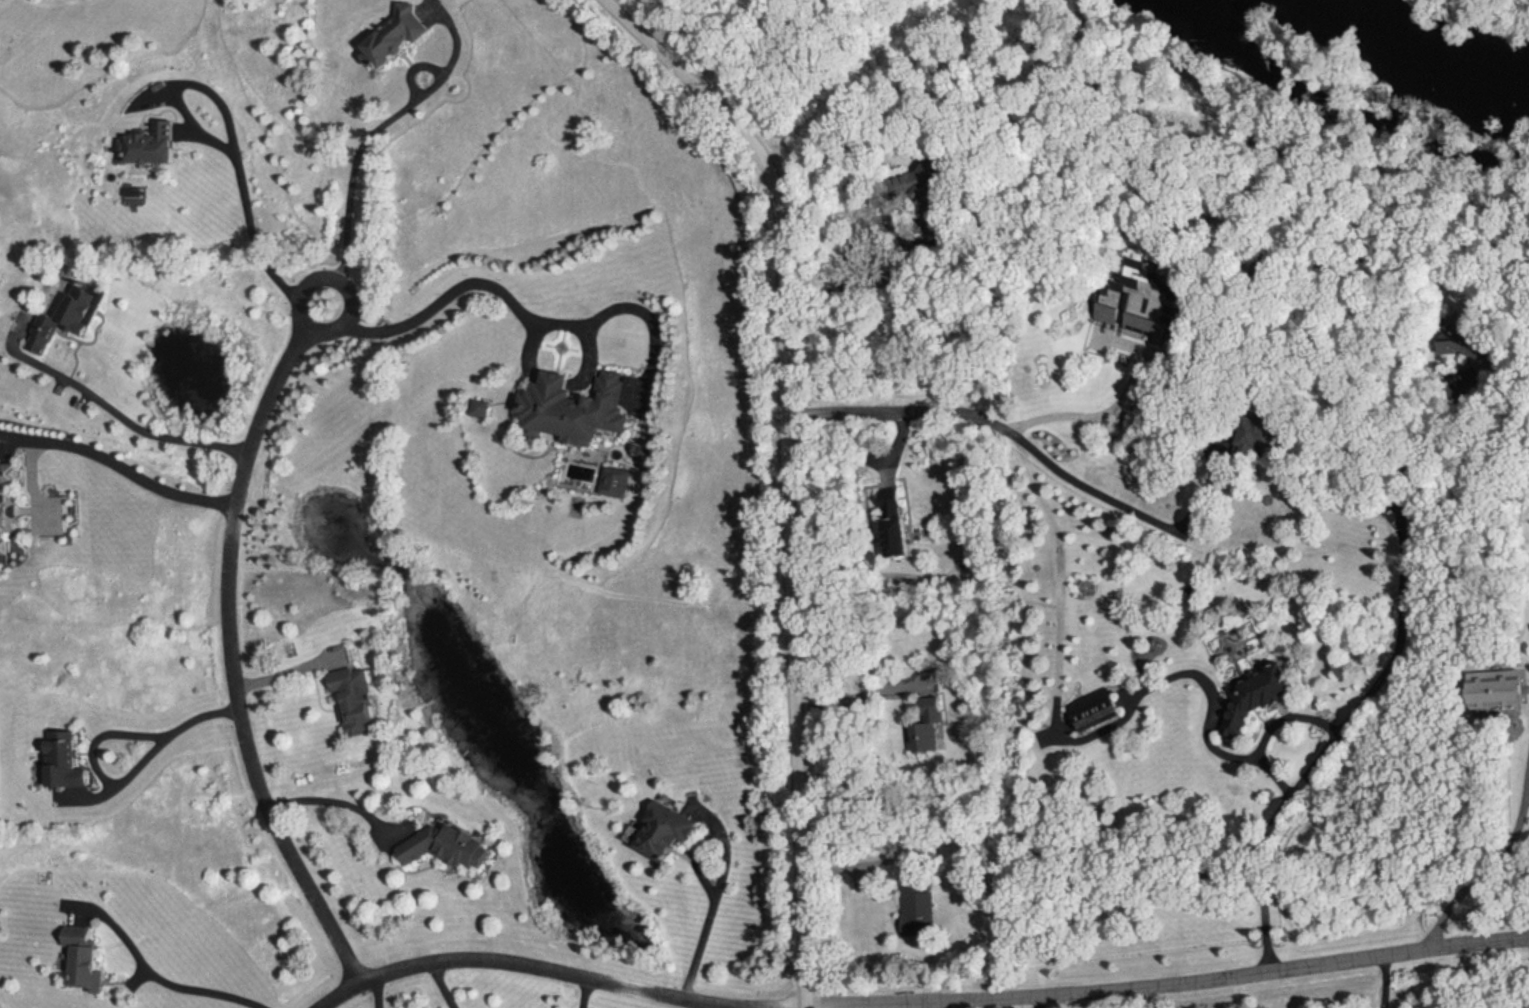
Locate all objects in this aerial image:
building: (399, 36)
river: (1405, 59)
road: (367, 142)
building: (154, 145)
road: (246, 218)
road: (902, 258)
road: (443, 296)
road: (632, 309)
building: (1121, 317)
building: (71, 318)
road: (526, 352)
road: (586, 358)
road: (551, 382)
building: (578, 408)
road: (108, 411)
road: (1092, 417)
road: (999, 425)
road: (117, 466)
road: (786, 471)
road: (1205, 487)
building: (7, 512)
road: (227, 643)
road: (285, 671)
road: (1196, 678)
road: (1374, 688)
road: (861, 691)
building: (359, 699)
building: (1086, 715)
road: (1284, 717)
building: (66, 760)
road: (117, 780)
road: (332, 803)
building: (660, 835)
building: (451, 848)
road: (854, 861)
road: (1488, 867)
road: (719, 875)
building: (919, 915)
building: (87, 956)
road: (555, 969)
road: (149, 975)
road: (1385, 981)
road: (438, 985)
road: (1168, 985)
road: (378, 991)
road: (583, 992)
road: (1035, 1002)

